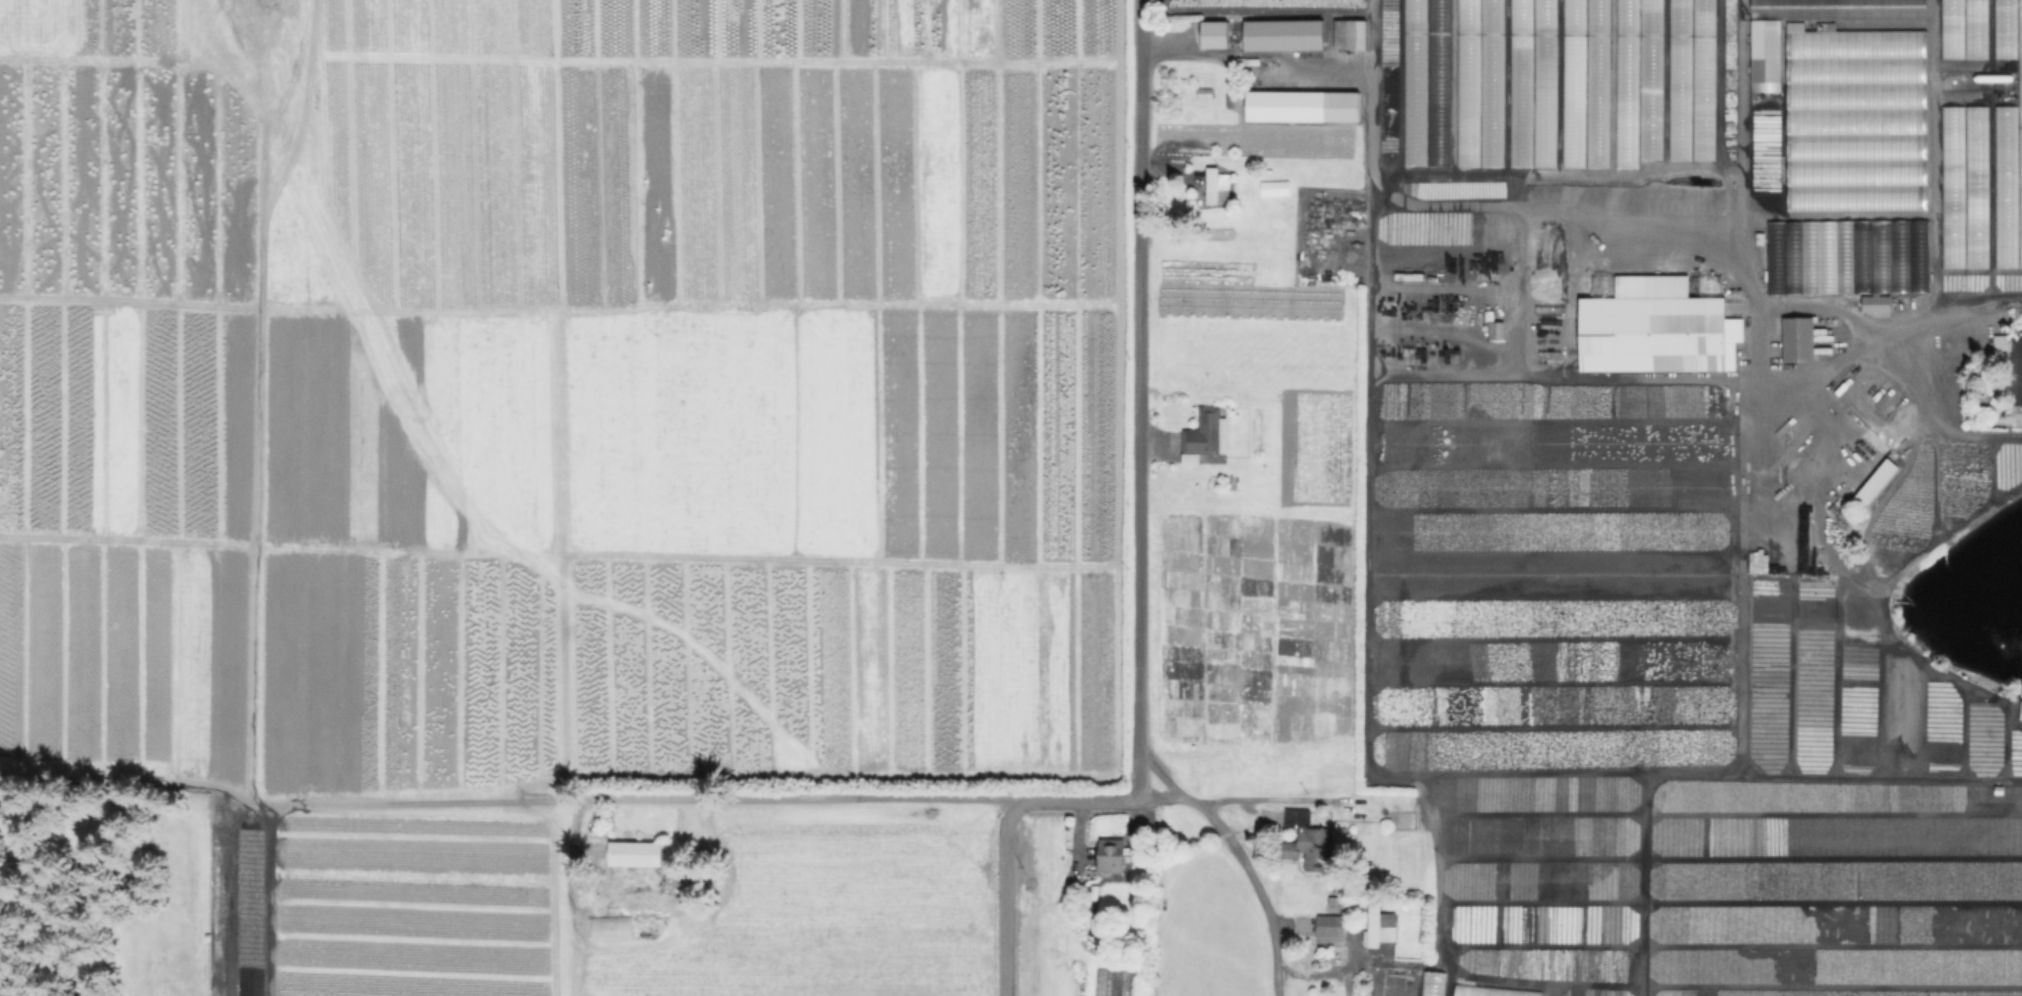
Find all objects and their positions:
building: (1444, 5)
building: (1838, 9)
building: (1490, 15)
building: (1950, 28)
building: (1973, 28)
building: (2003, 29)
building: (1212, 33)
building: (1354, 33)
building: (1282, 34)
road: (1258, 52)
building: (1764, 55)
building: (1651, 61)
building: (1678, 79)
building: (1702, 79)
building: (1531, 82)
building: (1584, 83)
building: (1479, 95)
building: (1300, 105)
building: (1854, 119)
building: (2019, 128)
building: (1213, 186)
building: (1951, 186)
building: (1975, 186)
road: (1494, 206)
building: (1880, 281)
road: (1890, 300)
building: (1874, 303)
building: (1625, 326)
building: (1499, 331)
building: (1799, 340)
building: (2019, 377)
road: (1139, 398)
building: (1203, 435)
building: (1876, 482)
building: (2021, 712)
road: (736, 797)
road: (1251, 798)
road: (1002, 835)
building: (1308, 842)
building: (633, 853)
building: (1109, 855)
road: (1245, 865)
building: (1338, 902)
building: (610, 926)
building: (1380, 927)
building: (1332, 928)
road: (1317, 976)
building: (1435, 983)
building: (1492, 992)

